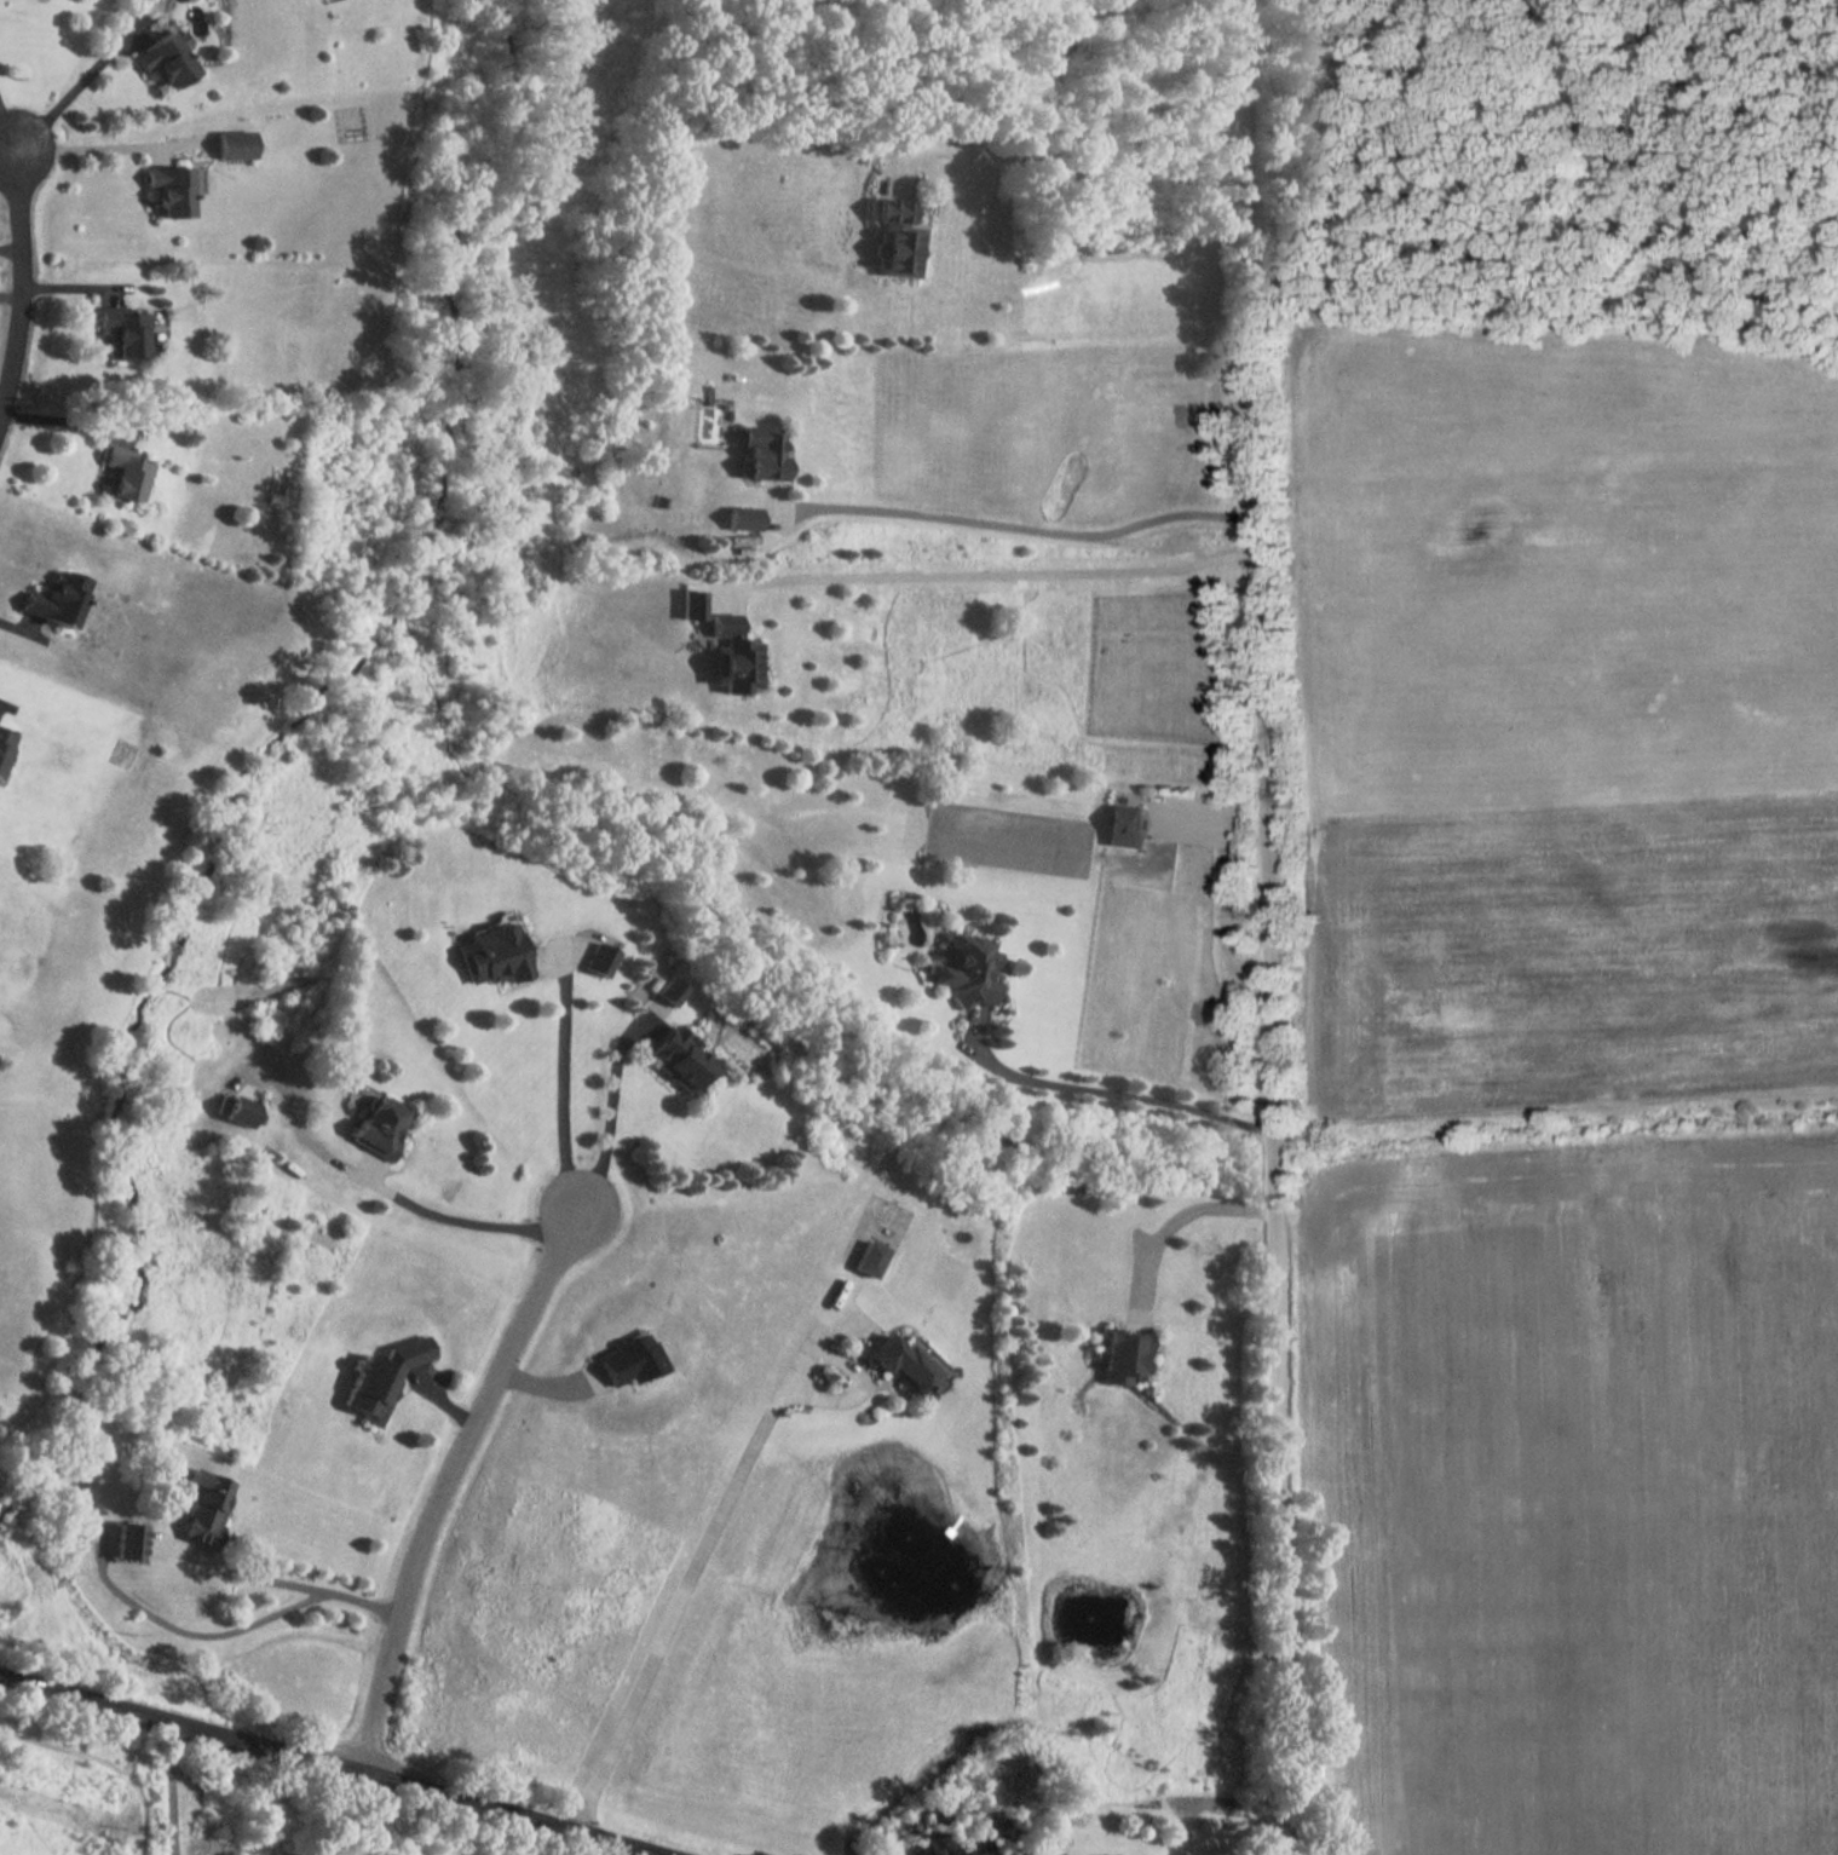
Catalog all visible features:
building: (168, 61)
road: (73, 92)
road: (7, 123)
road: (7, 138)
building: (236, 145)
road: (85, 149)
road: (1091, 167)
building: (175, 190)
building: (898, 244)
road: (12, 247)
road: (24, 281)
road: (12, 292)
building: (128, 333)
road: (71, 420)
building: (767, 456)
building: (129, 476)
road: (1021, 529)
road: (996, 576)
building: (57, 601)
building: (734, 658)
building: (5, 739)
building: (1125, 825)
road: (1226, 892)
road: (1271, 927)
building: (494, 952)
building: (599, 958)
building: (962, 972)
building: (670, 990)
building: (682, 1060)
road: (1111, 1091)
road: (563, 1098)
building: (241, 1111)
building: (384, 1127)
road: (609, 1127)
road: (478, 1223)
road: (1174, 1223)
building: (1125, 1356)
building: (910, 1369)
building: (385, 1377)
road: (448, 1481)
building: (201, 1504)
building: (128, 1540)
road: (688, 1578)
road: (278, 1580)
road: (327, 1765)
road: (172, 1788)

